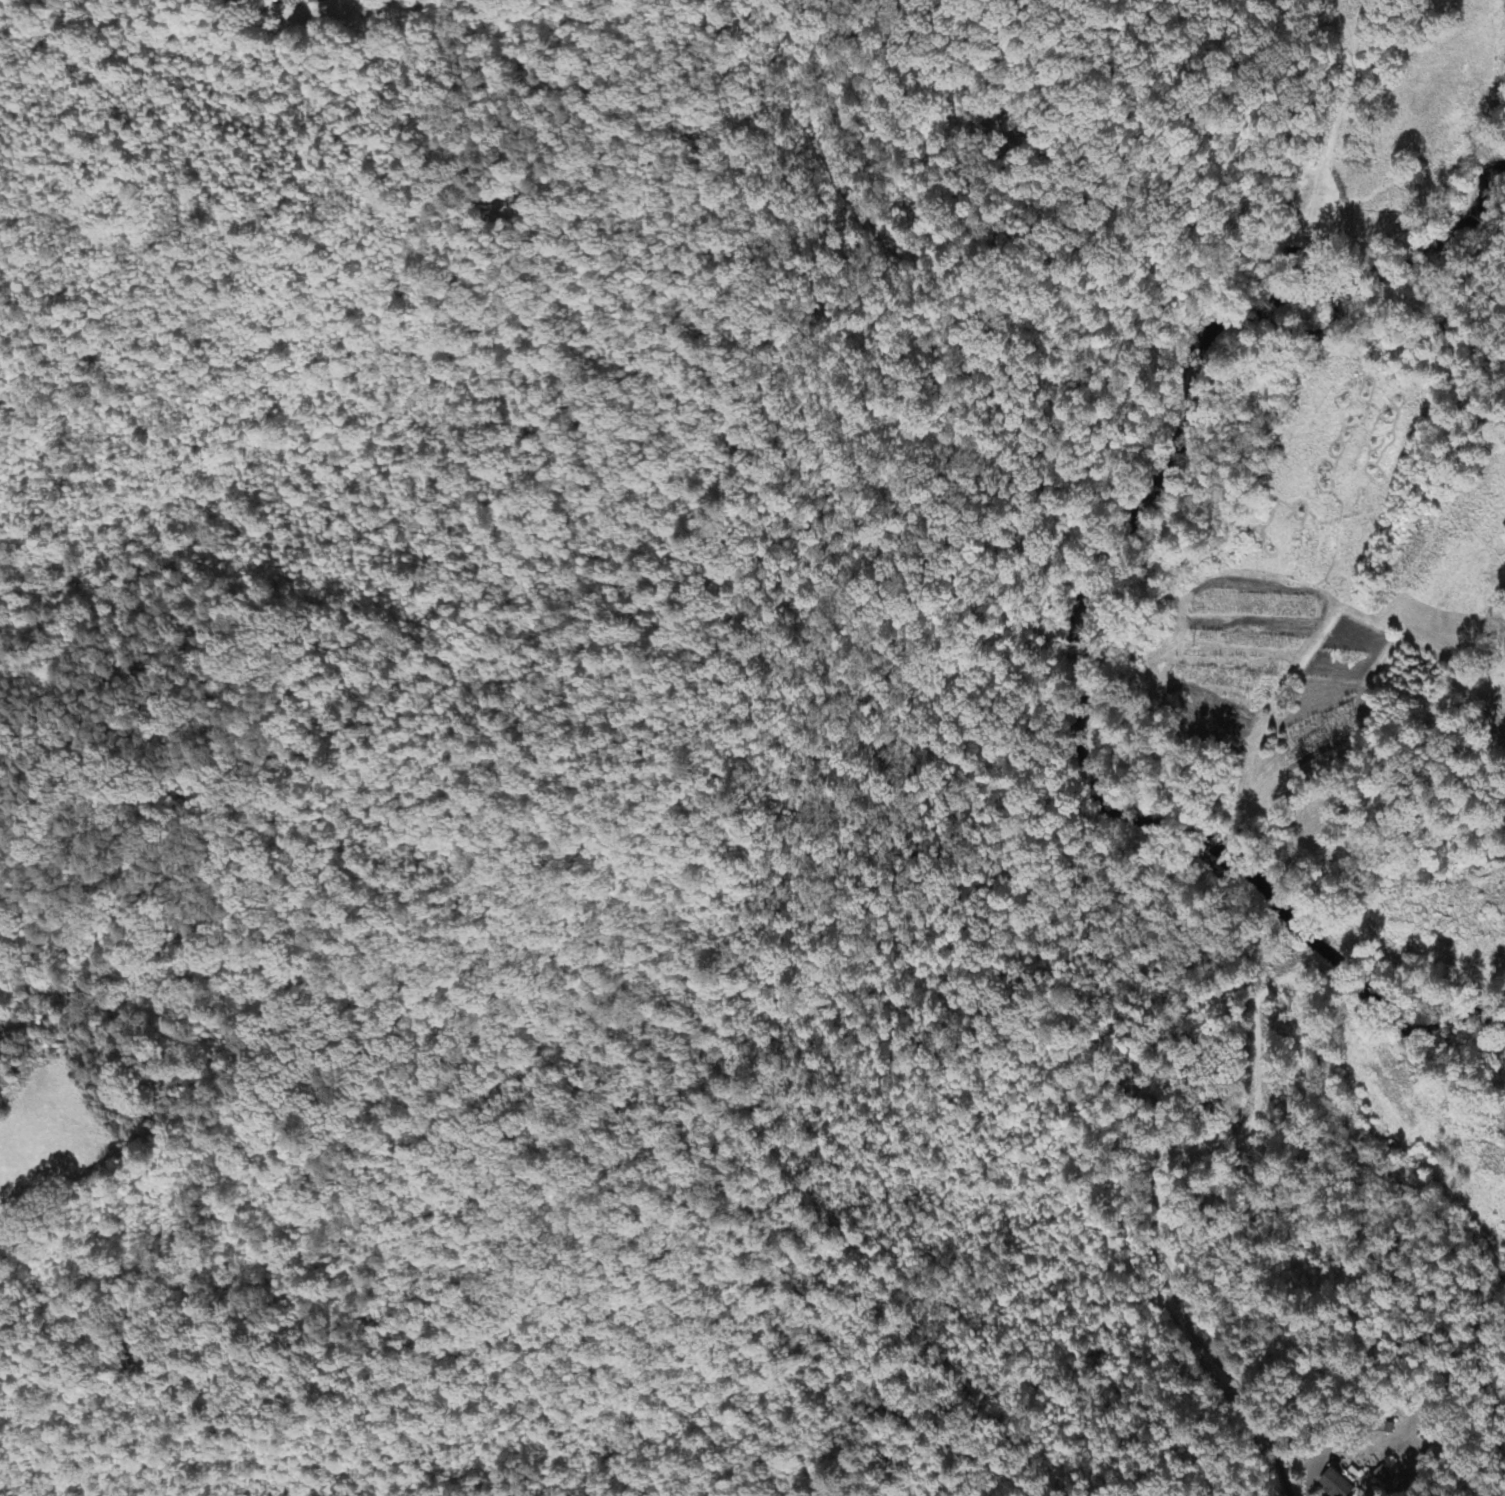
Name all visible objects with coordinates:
building: (319, 1)
road: (1142, 81)
road: (1287, 735)
road: (1333, 844)
road: (1156, 1240)
building: (1336, 1485)

